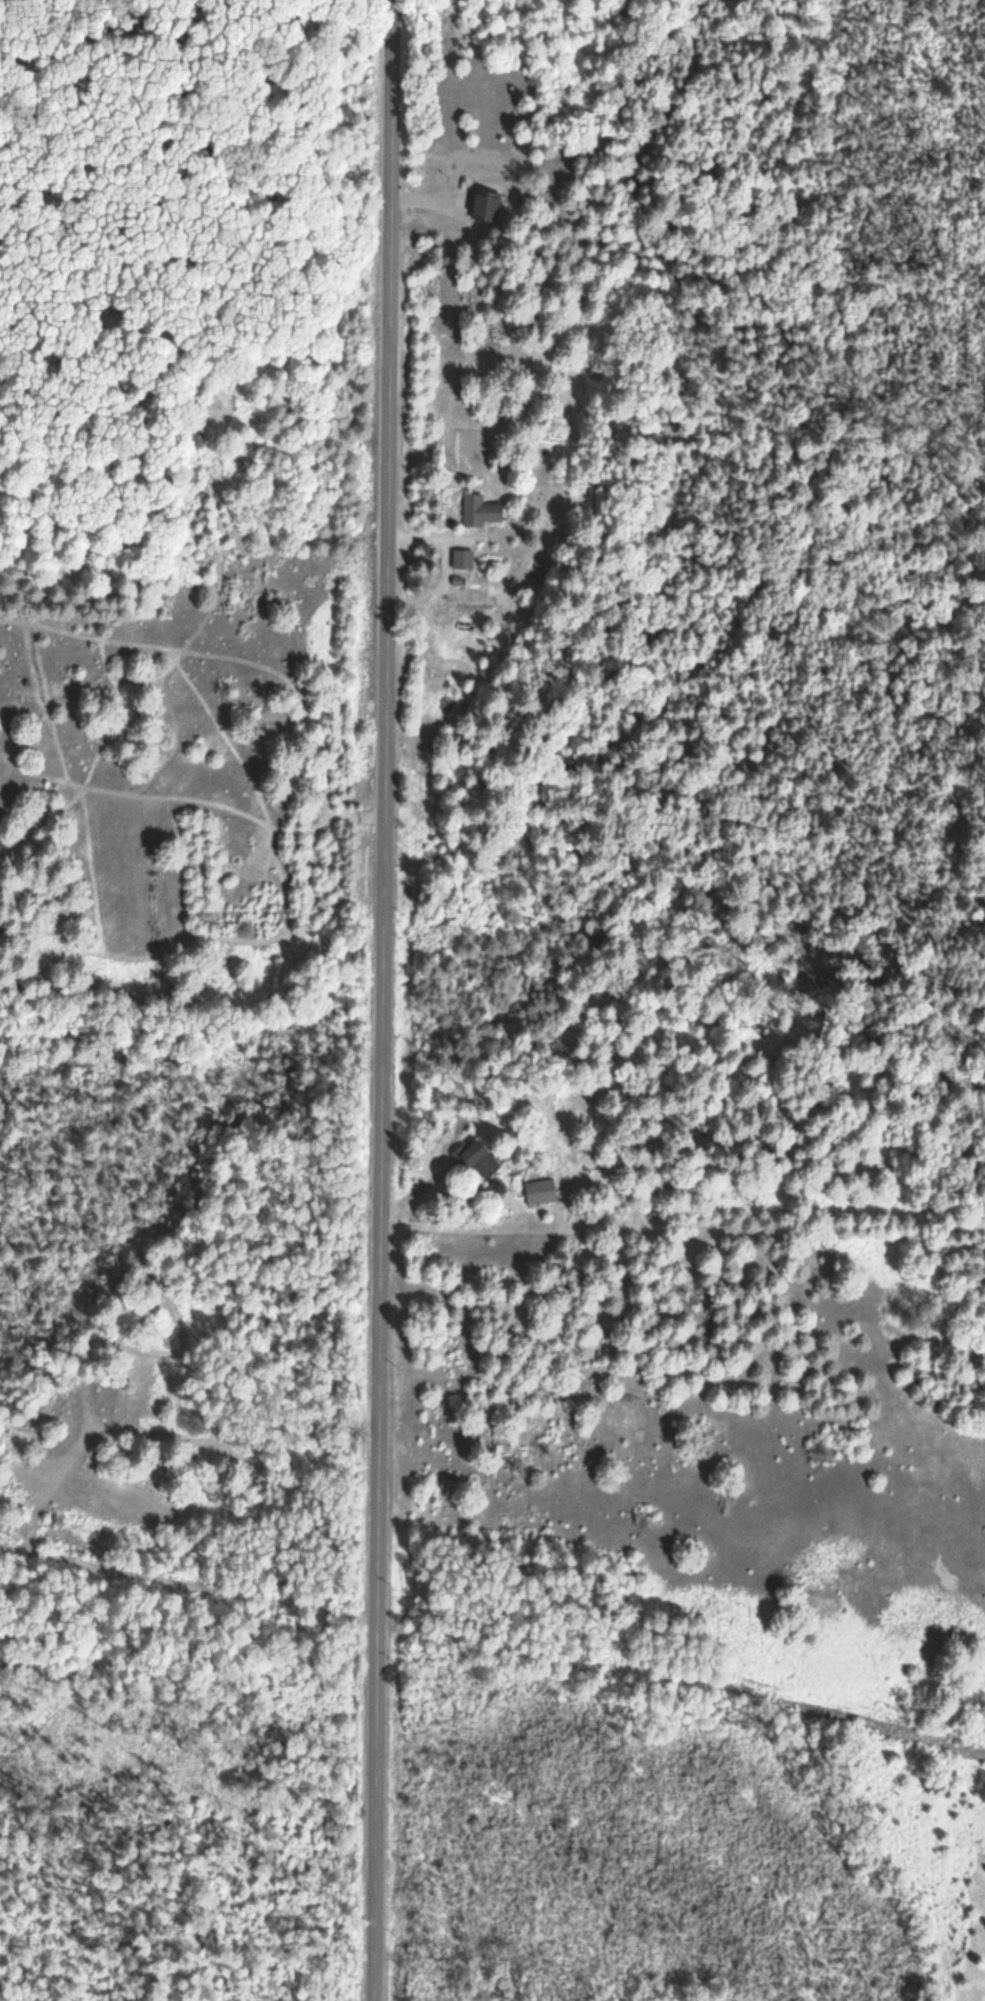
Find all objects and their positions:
building: (486, 207)
building: (480, 511)
building: (462, 560)
road: (379, 1000)
building: (477, 1158)
building: (540, 1191)

